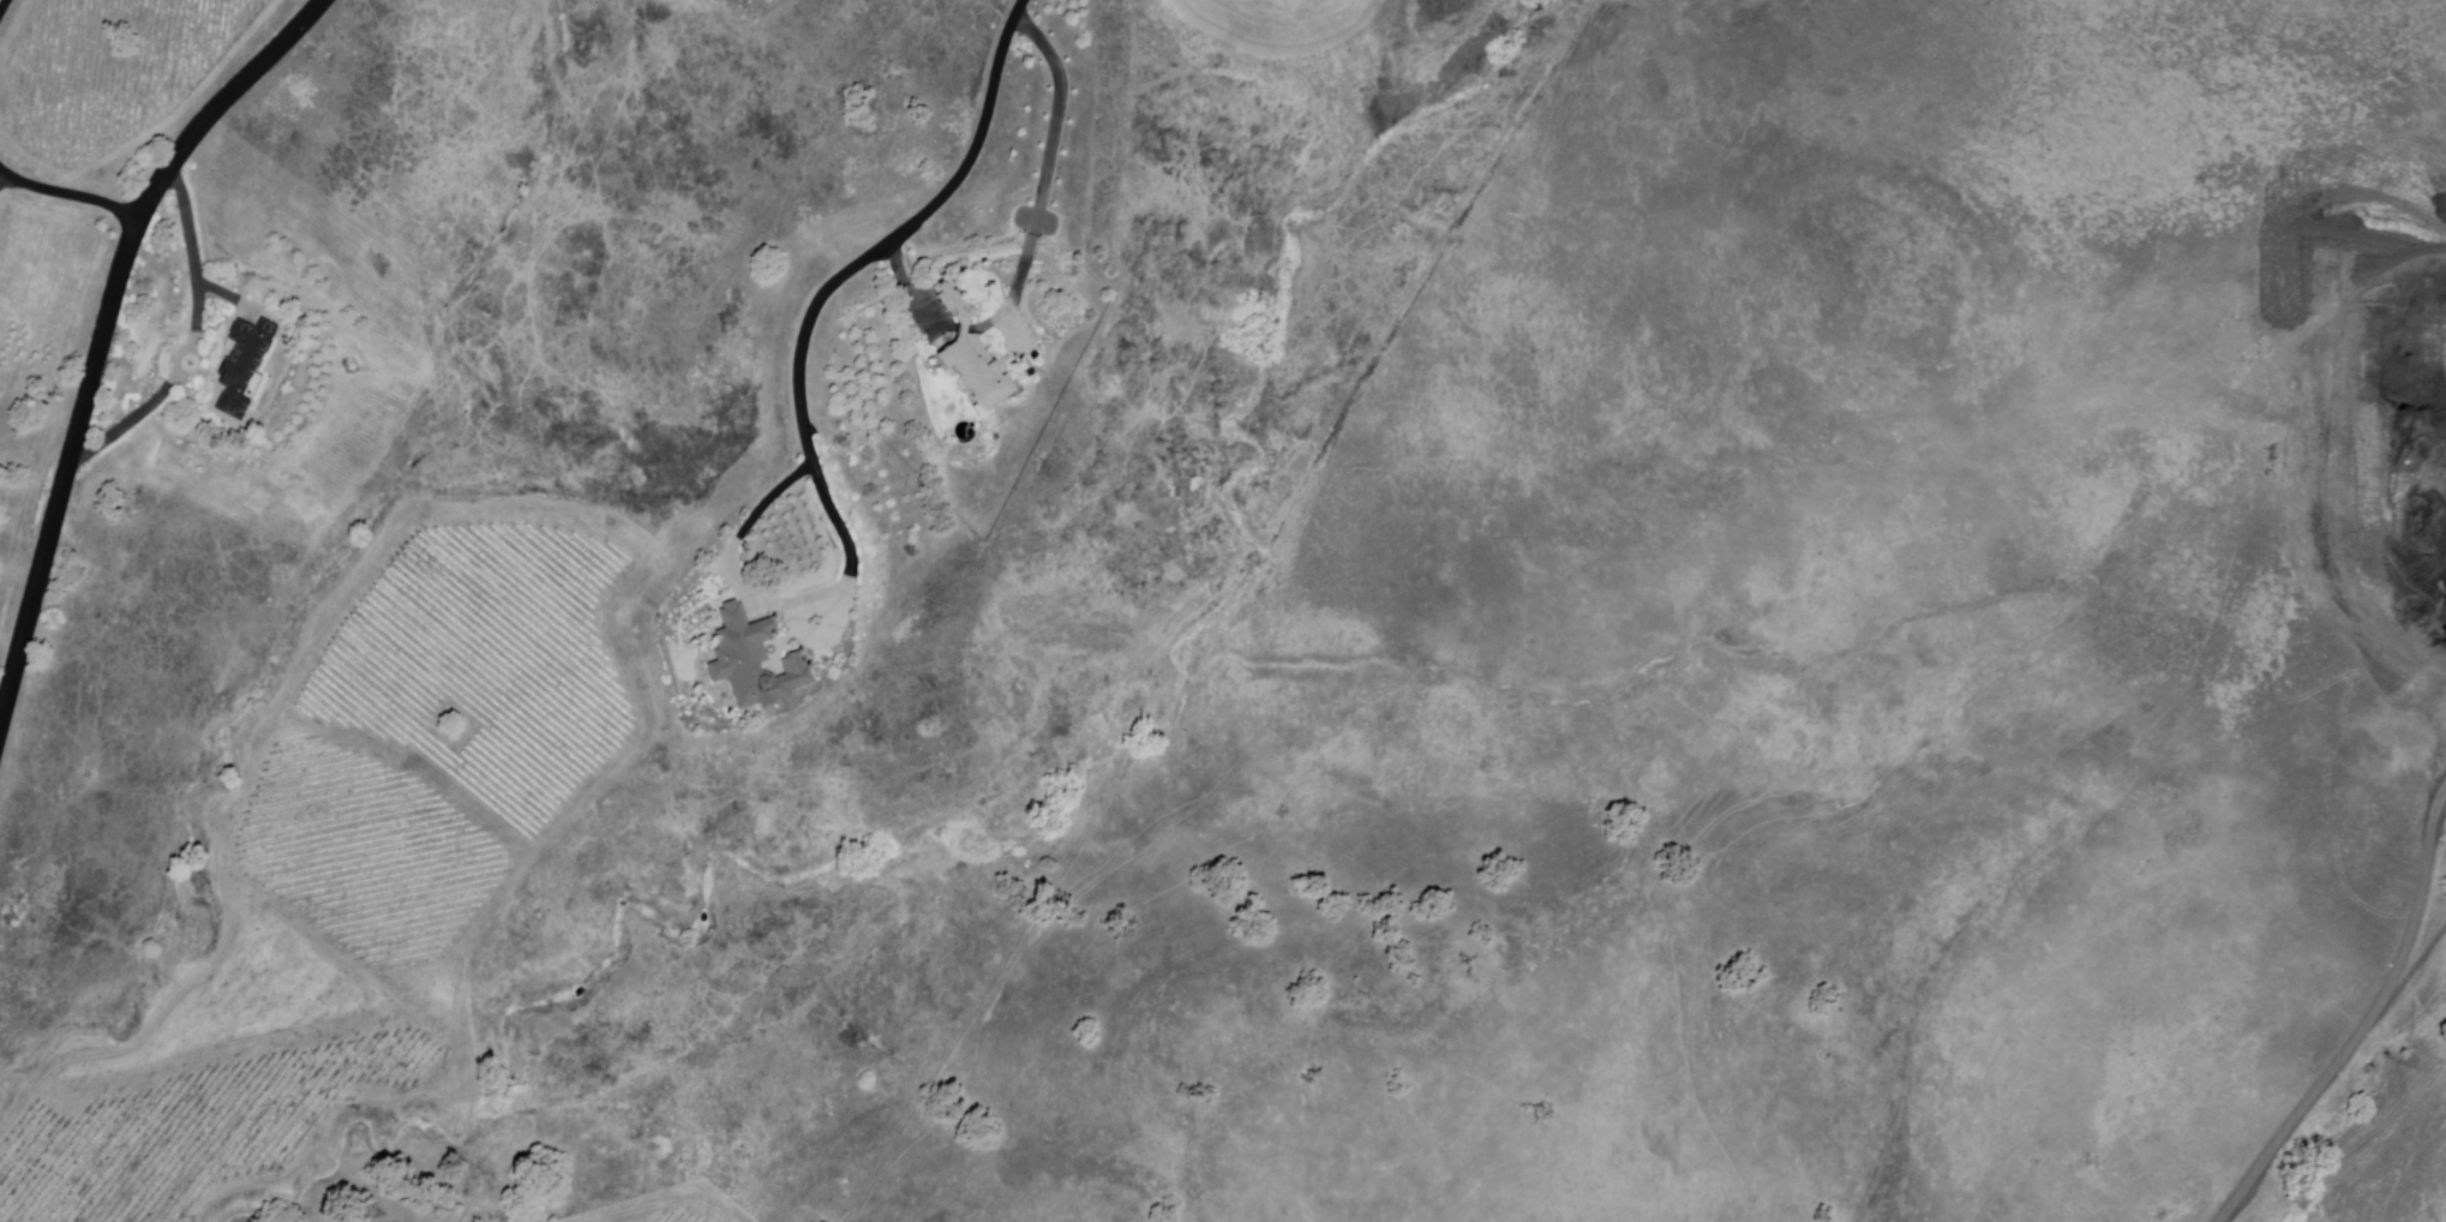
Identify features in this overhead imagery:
road: (5, 10)
road: (1047, 167)
road: (5, 186)
road: (67, 194)
road: (900, 232)
road: (907, 286)
road: (103, 328)
road: (188, 341)
building: (969, 358)
building: (246, 366)
quarry: (2393, 463)
road: (845, 534)
building: (757, 663)
road: (2416, 968)
road: (2363, 1022)

